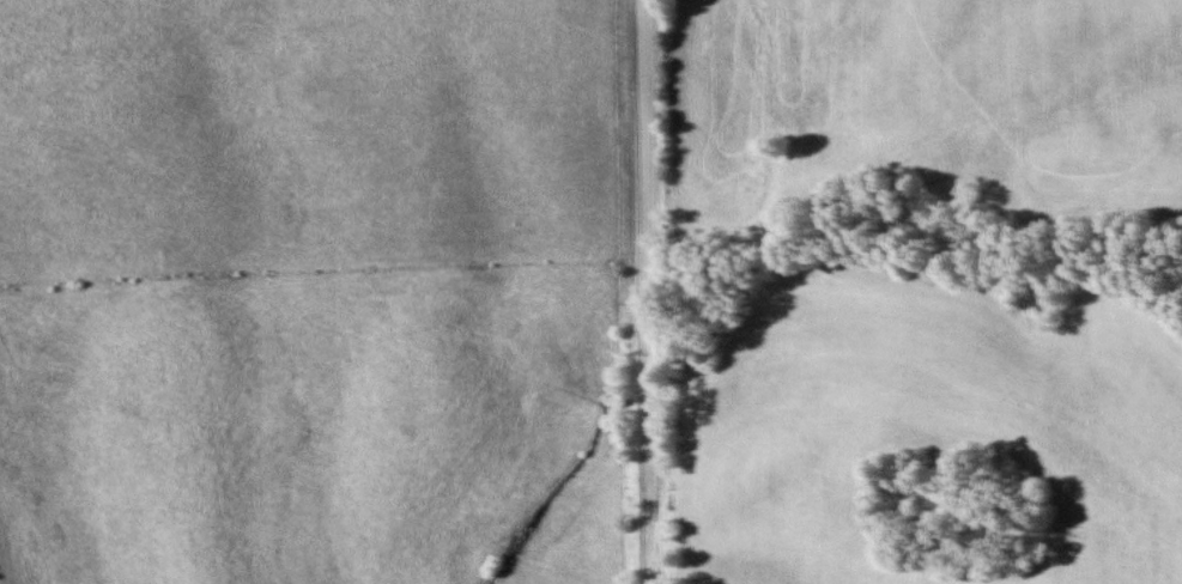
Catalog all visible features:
road: (644, 292)

